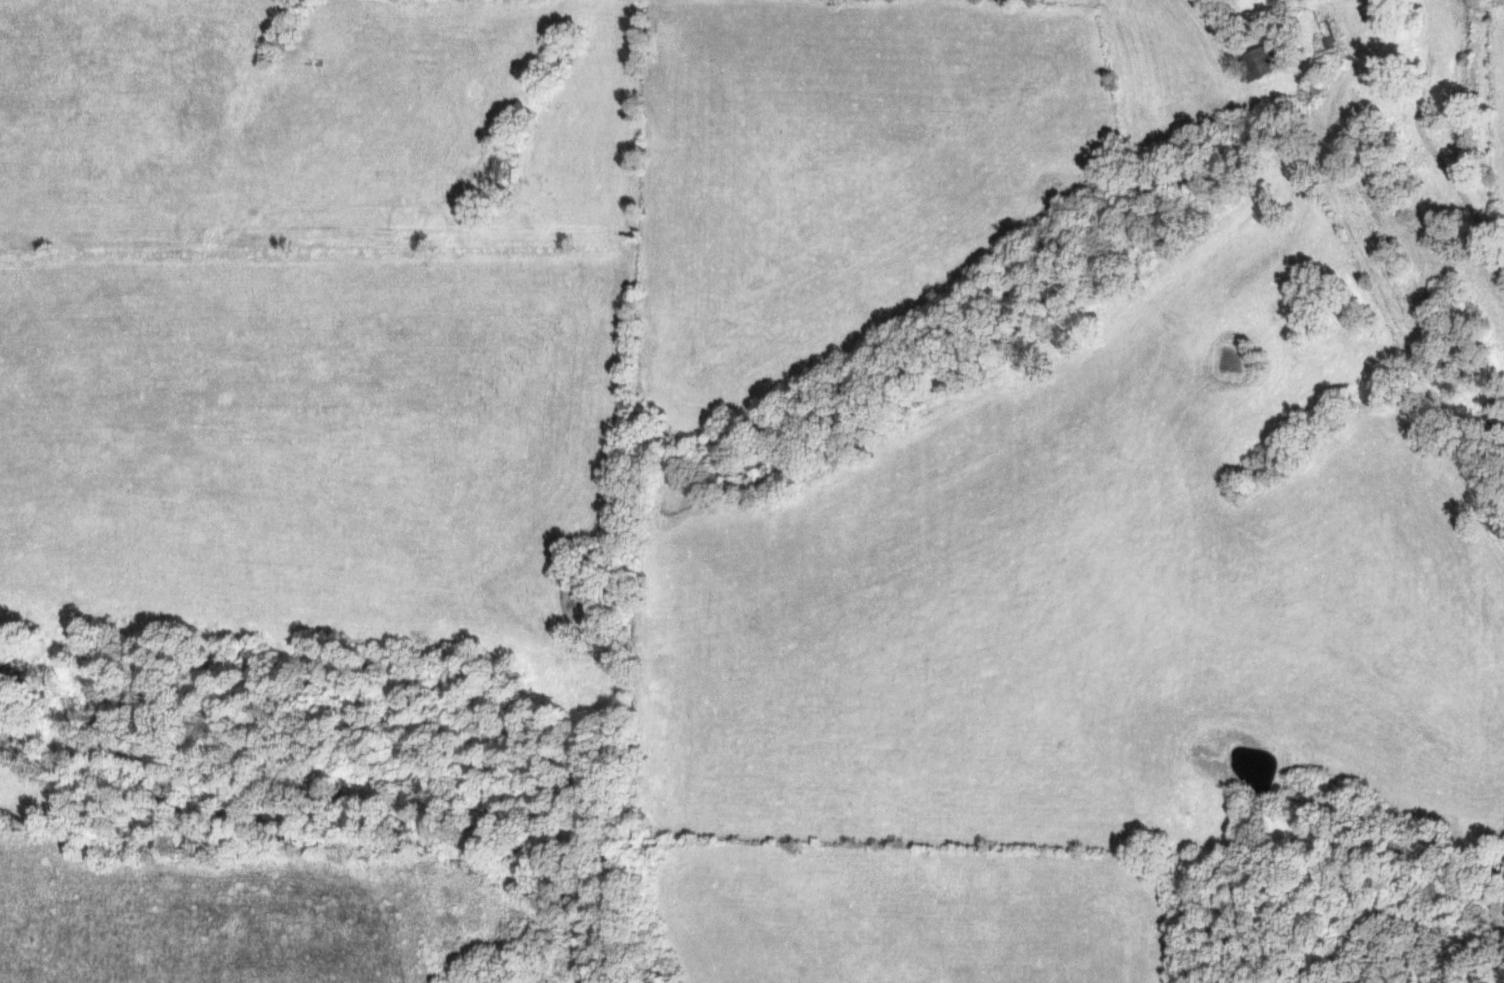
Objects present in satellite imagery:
road: (1299, 53)
building: (1261, 65)

